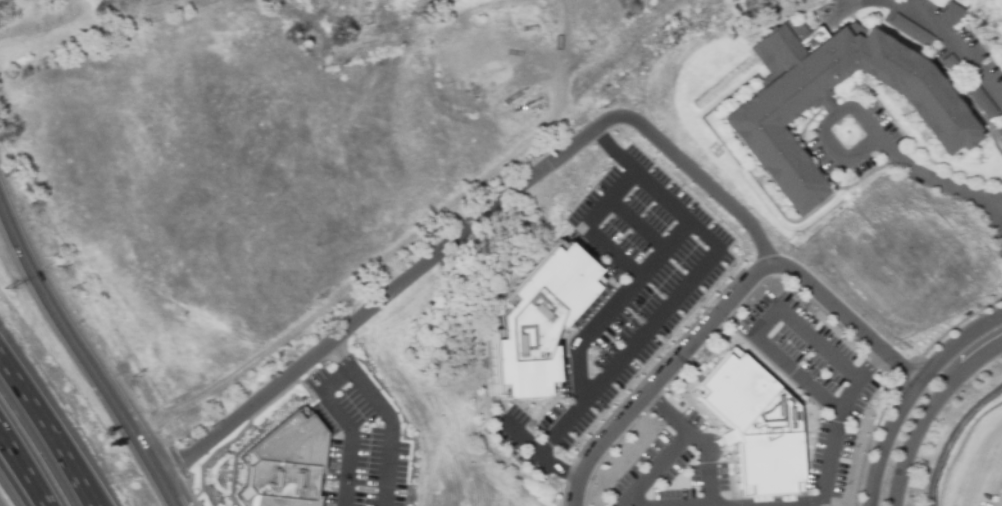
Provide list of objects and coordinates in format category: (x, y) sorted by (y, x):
building: (949, 15)
road: (931, 21)
building: (912, 33)
building: (952, 68)
road: (960, 89)
road: (871, 92)
building: (979, 99)
building: (941, 117)
road: (821, 130)
building: (1000, 131)
road: (904, 151)
road: (840, 175)
road: (942, 183)
road: (998, 205)
road: (786, 218)
road: (634, 223)
road: (475, 225)
road: (676, 236)
road: (651, 265)
road: (635, 276)
road: (683, 286)
road: (728, 312)
building: (535, 319)
road: (801, 334)
road: (85, 353)
road: (340, 356)
road: (345, 374)
road: (796, 378)
road: (910, 393)
road: (929, 412)
road: (669, 415)
building: (755, 424)
road: (49, 428)
road: (944, 430)
road: (838, 432)
road: (540, 456)
road: (710, 463)
building: (284, 465)
road: (26, 466)
road: (654, 469)
road: (18, 480)

